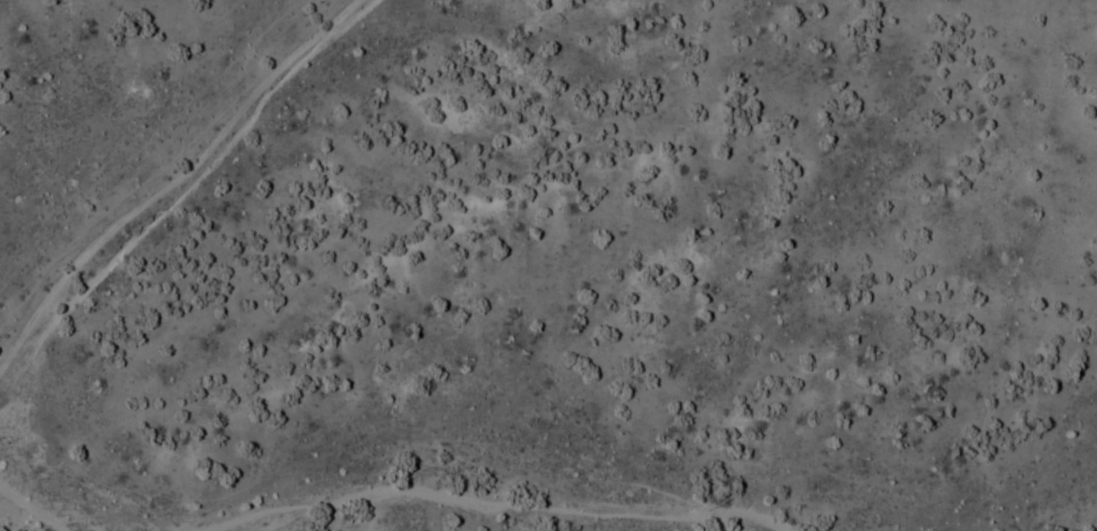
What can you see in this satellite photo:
road: (157, 168)

